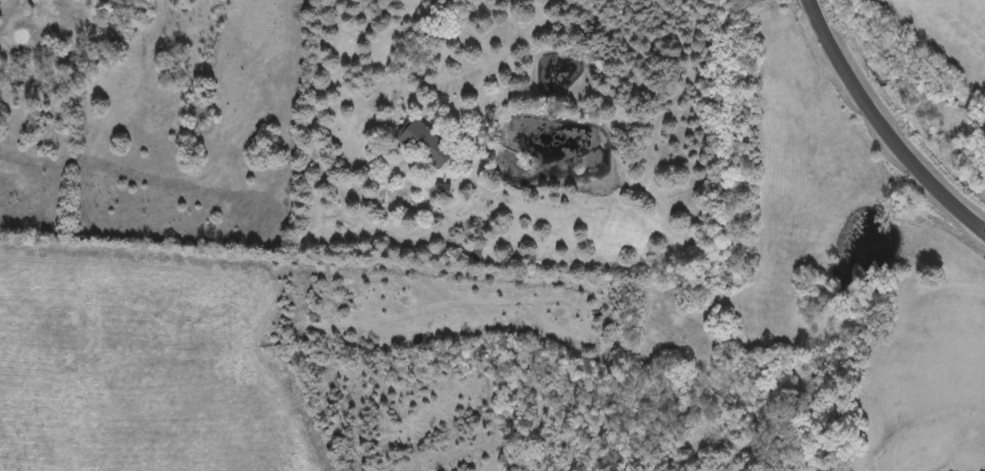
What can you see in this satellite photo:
road: (881, 127)
building: (433, 153)
road: (177, 301)
road: (227, 347)
road: (377, 463)

